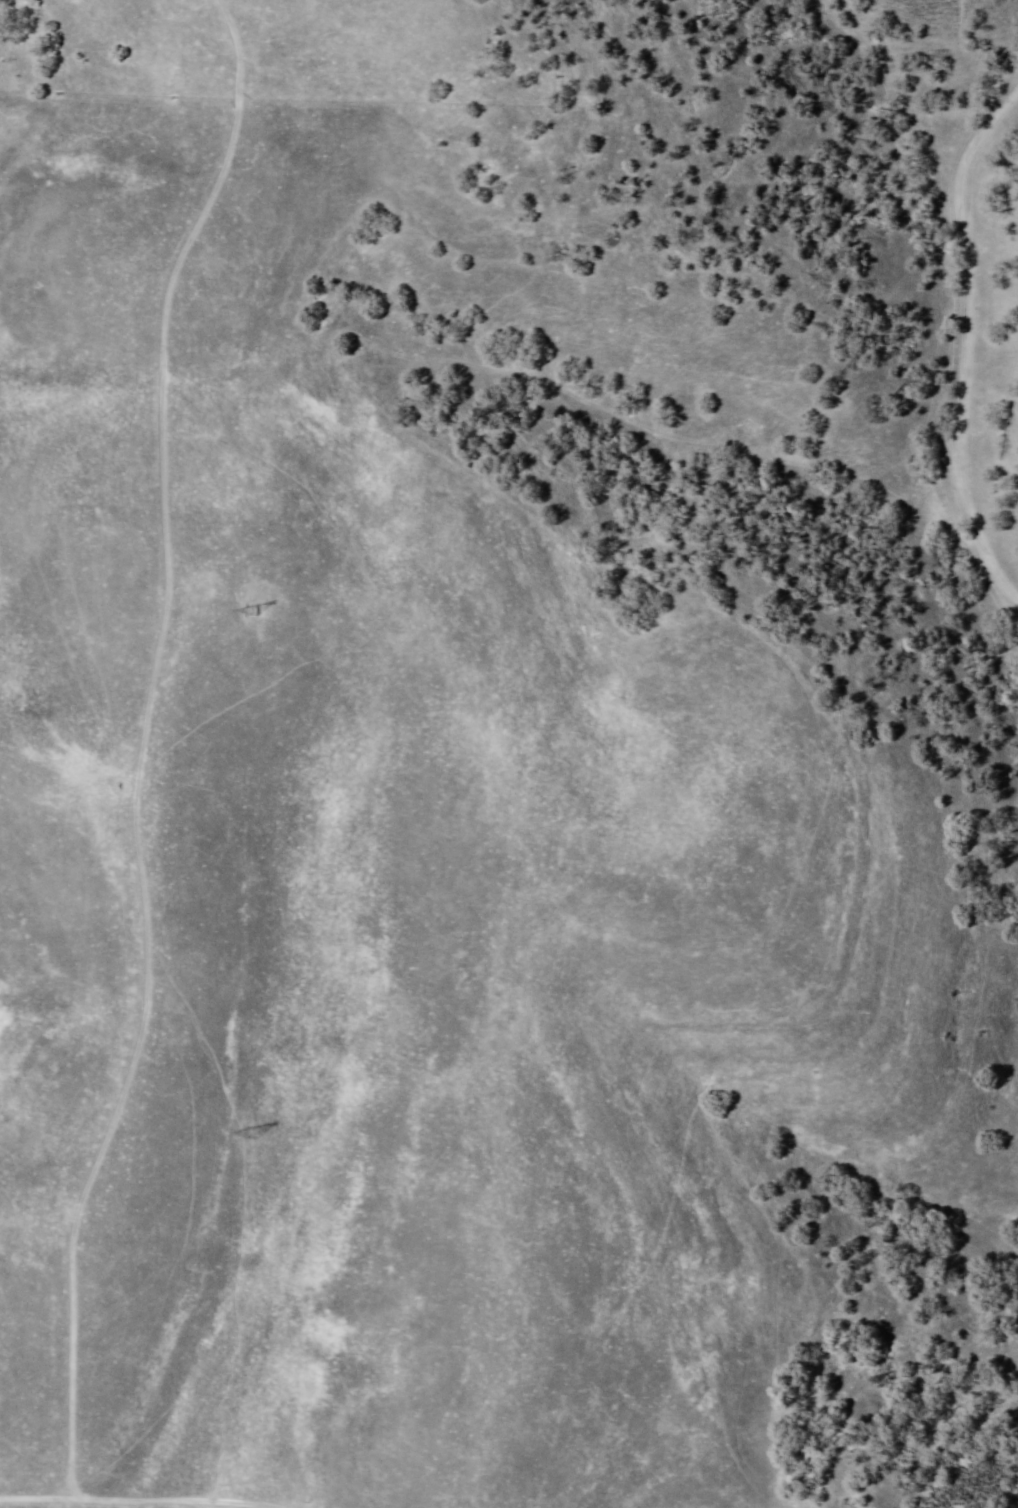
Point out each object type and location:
road: (965, 238)

